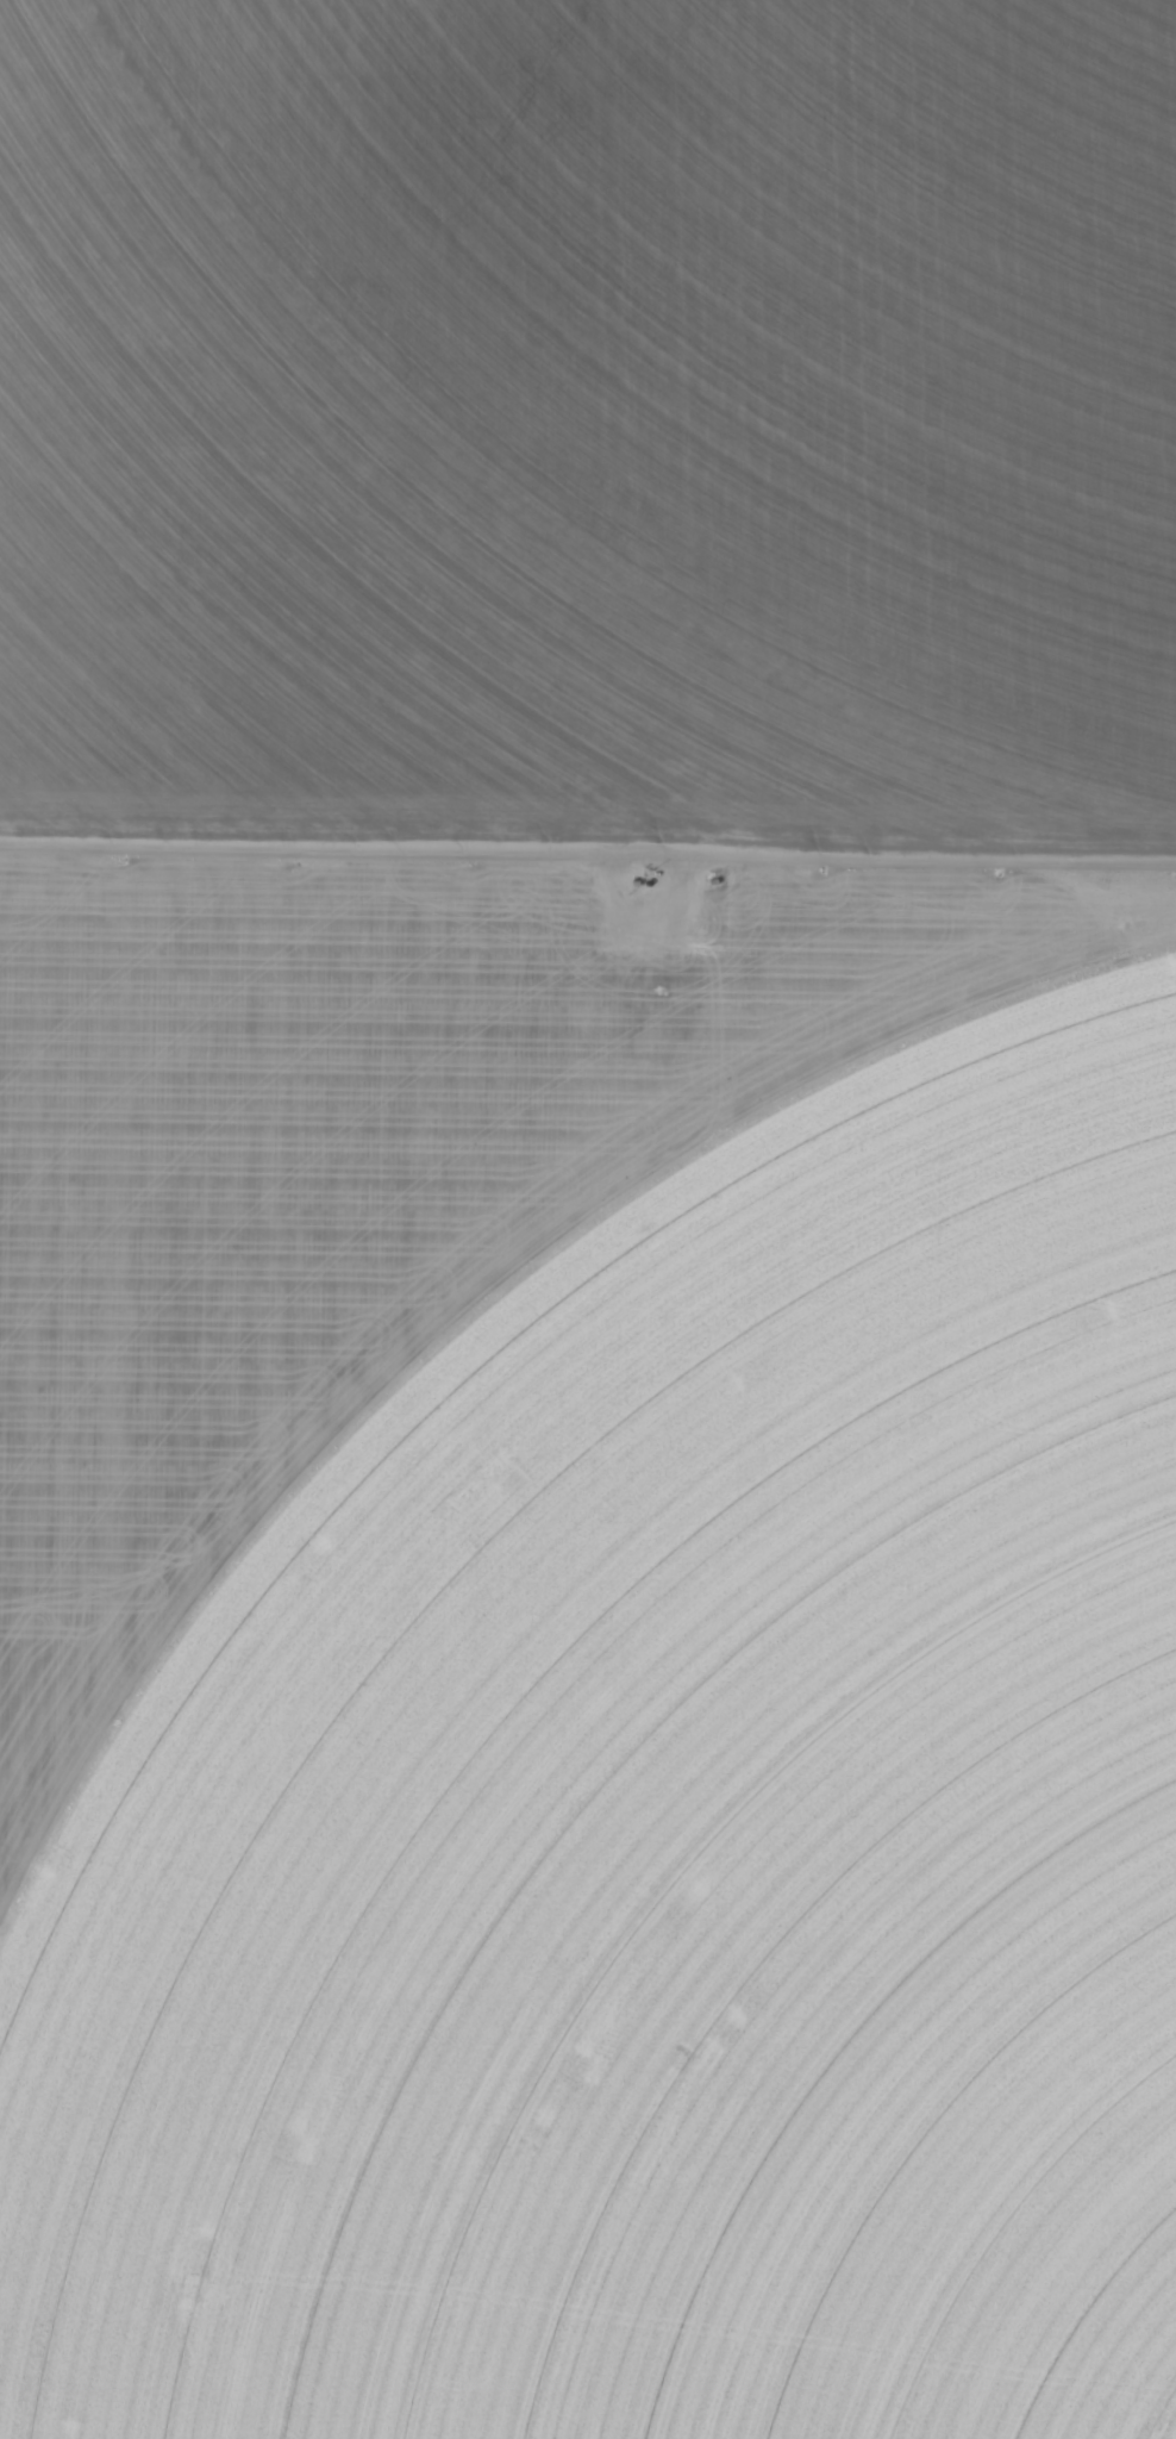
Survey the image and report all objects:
road: (477, 847)
road: (1065, 857)
road: (1151, 2427)

